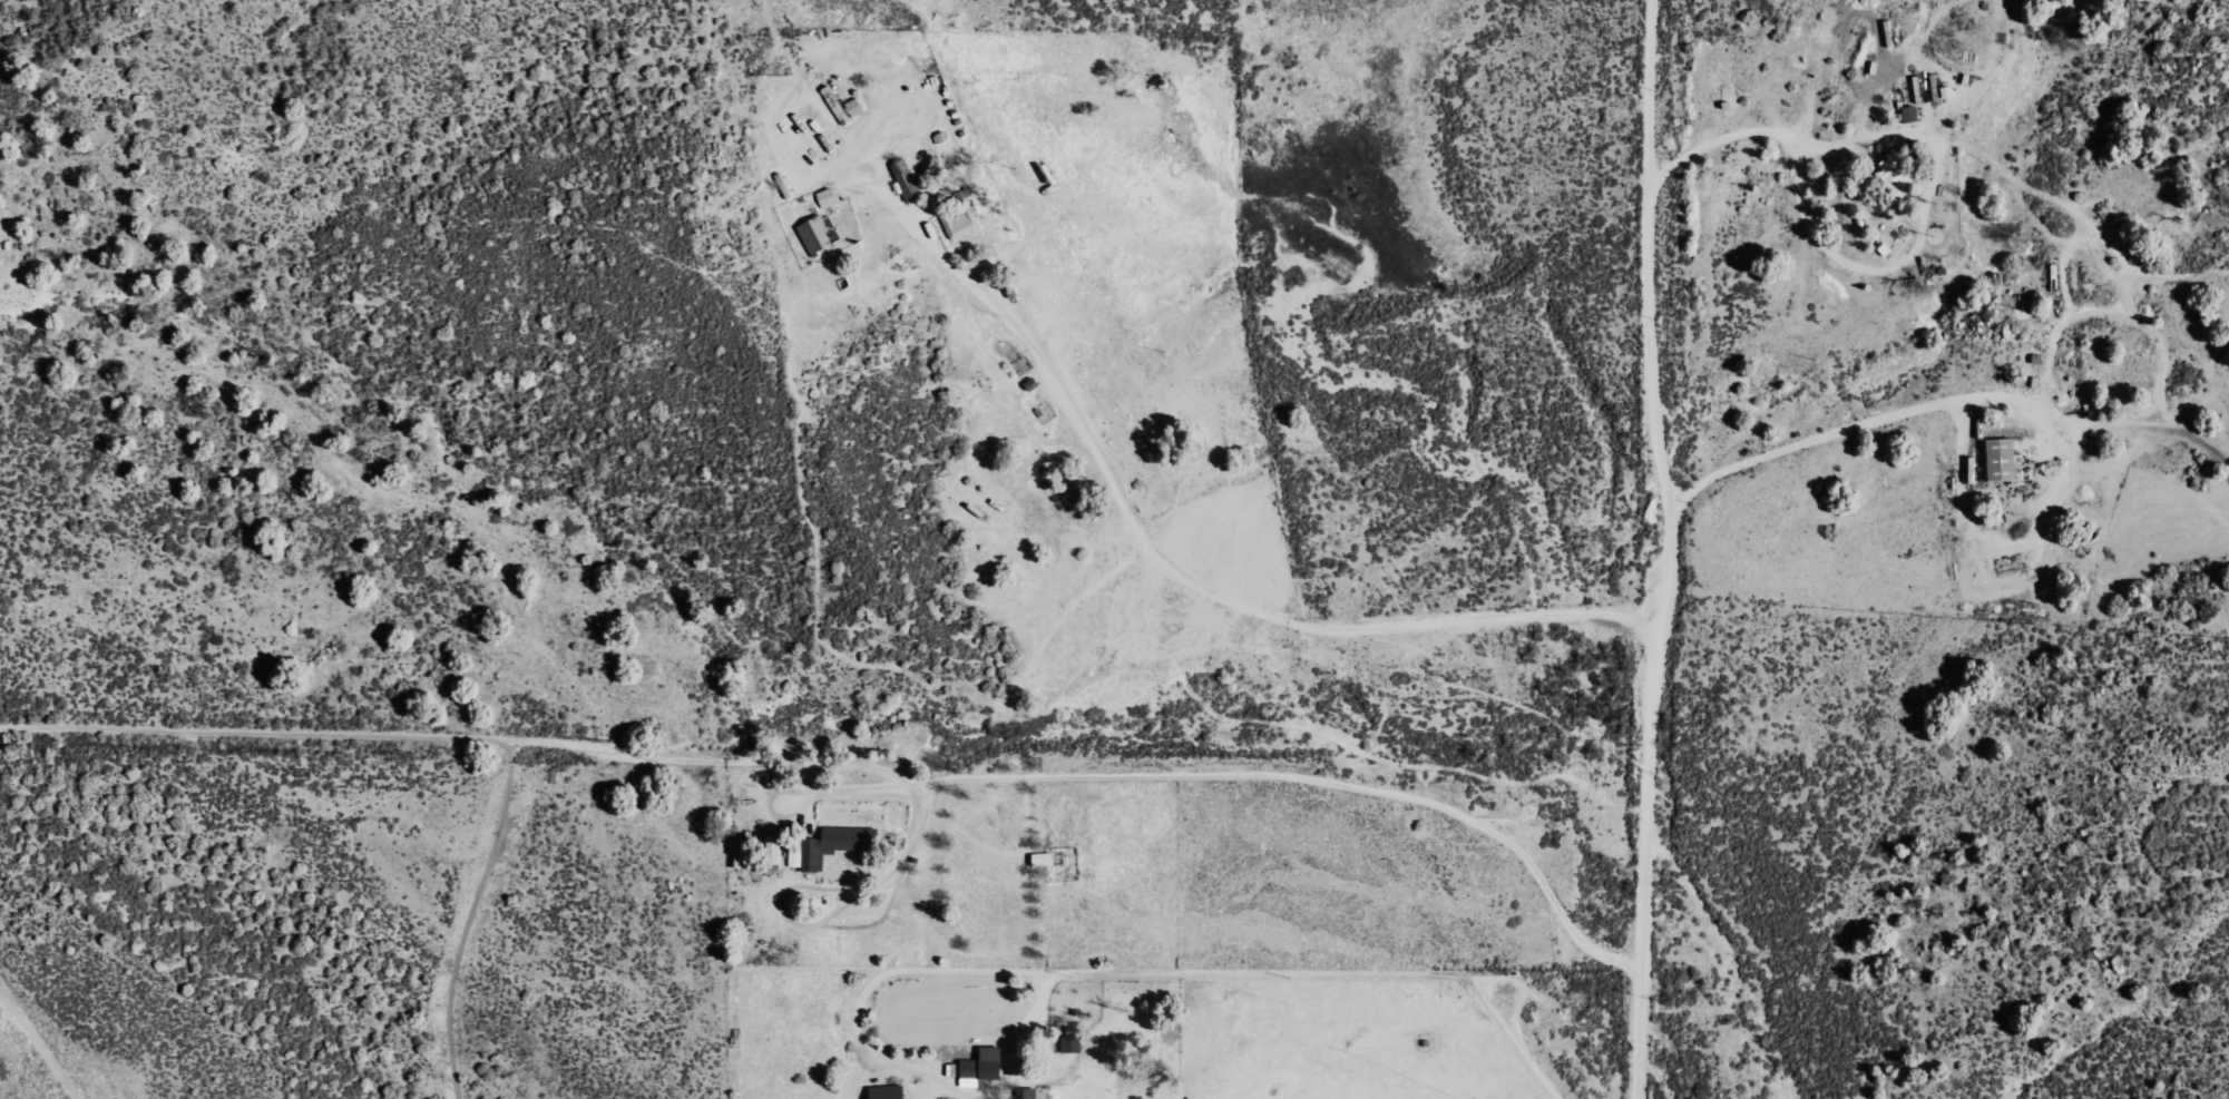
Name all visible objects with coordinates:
building: (1935, 88)
building: (856, 106)
building: (1906, 114)
building: (1889, 174)
building: (908, 180)
building: (828, 197)
building: (964, 220)
building: (817, 235)
building: (1997, 460)
road: (1669, 549)
building: (832, 845)
building: (1045, 857)
building: (1073, 1043)
building: (984, 1066)
building: (890, 1092)
building: (1027, 1093)

